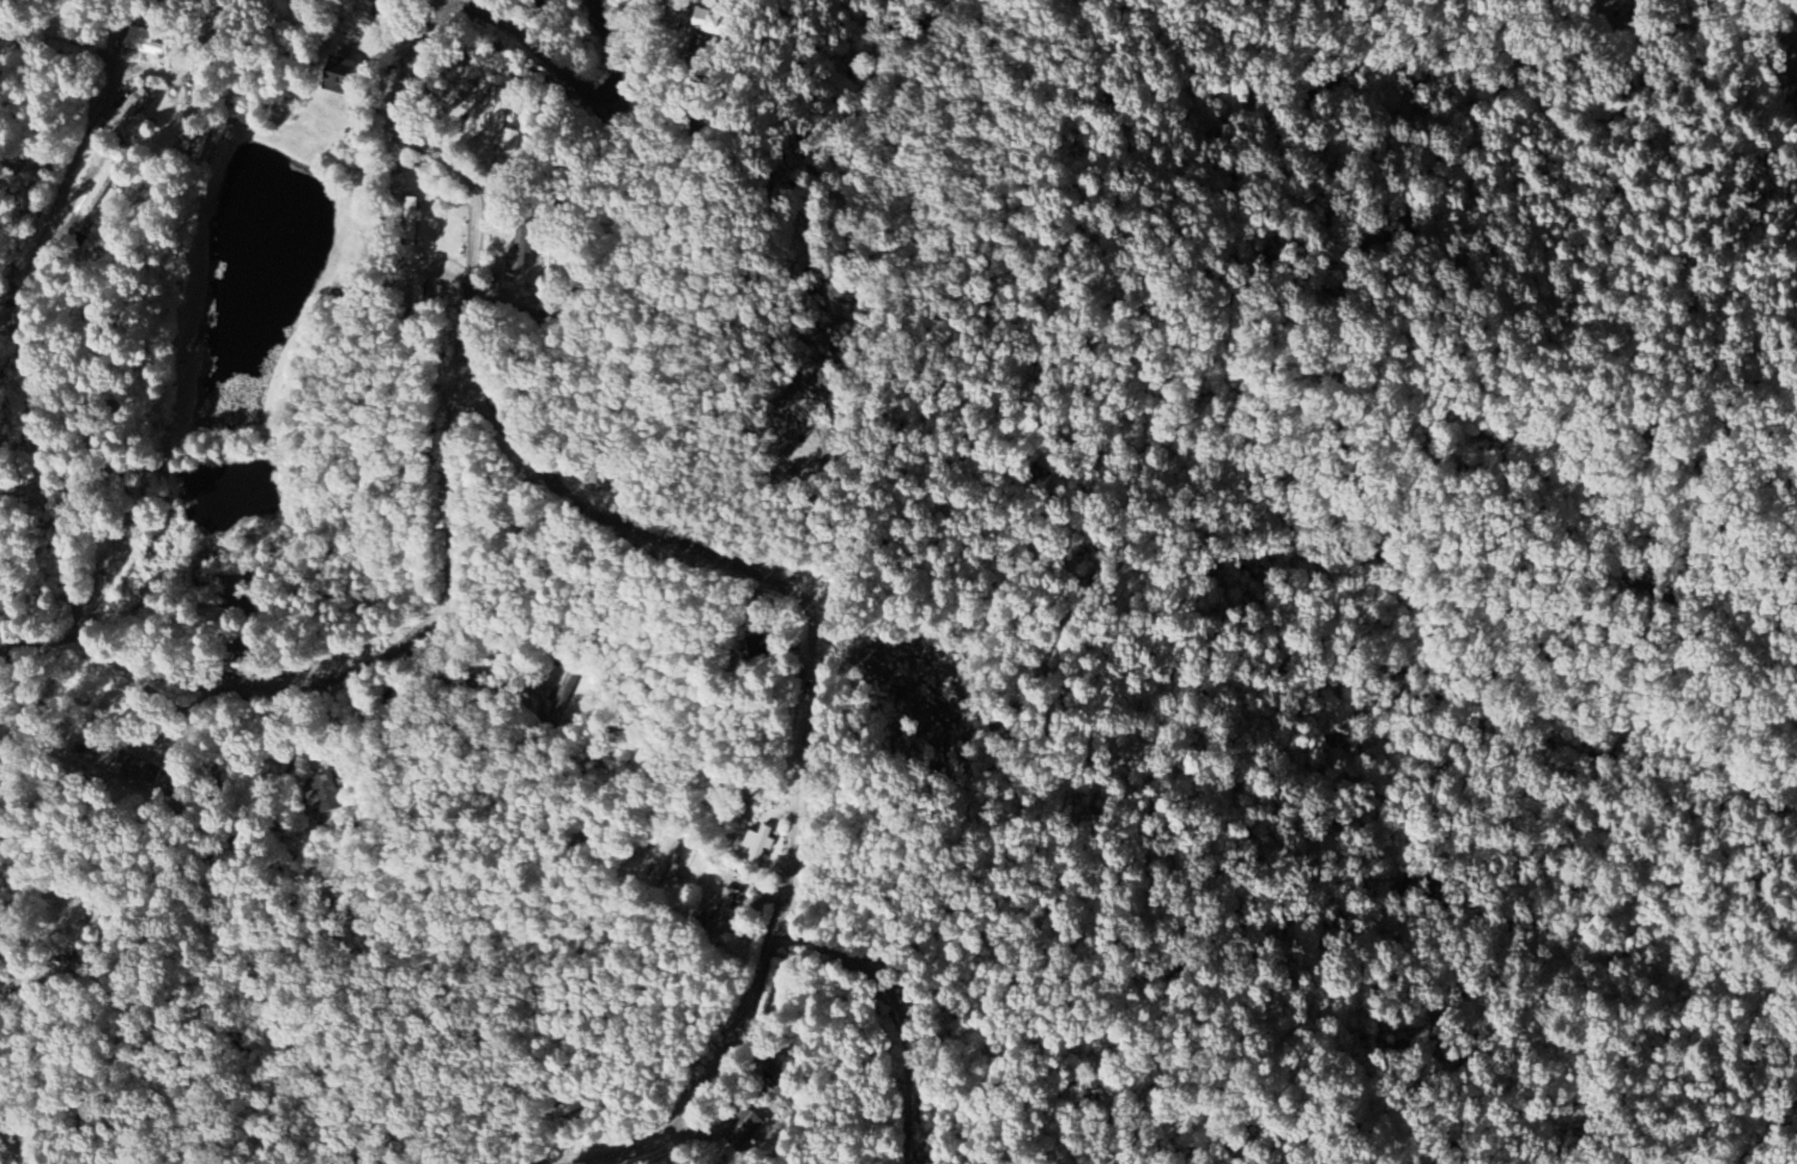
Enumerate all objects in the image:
building: (712, 23)
road: (63, 40)
building: (145, 41)
road: (410, 68)
road: (212, 93)
building: (497, 114)
building: (510, 144)
building: (411, 212)
building: (520, 251)
building: (604, 477)
road: (93, 641)
road: (806, 721)
building: (138, 774)
building: (326, 796)
building: (758, 844)
building: (664, 862)
building: (722, 913)
road: (908, 1007)
building: (746, 1133)
road: (13, 1141)

